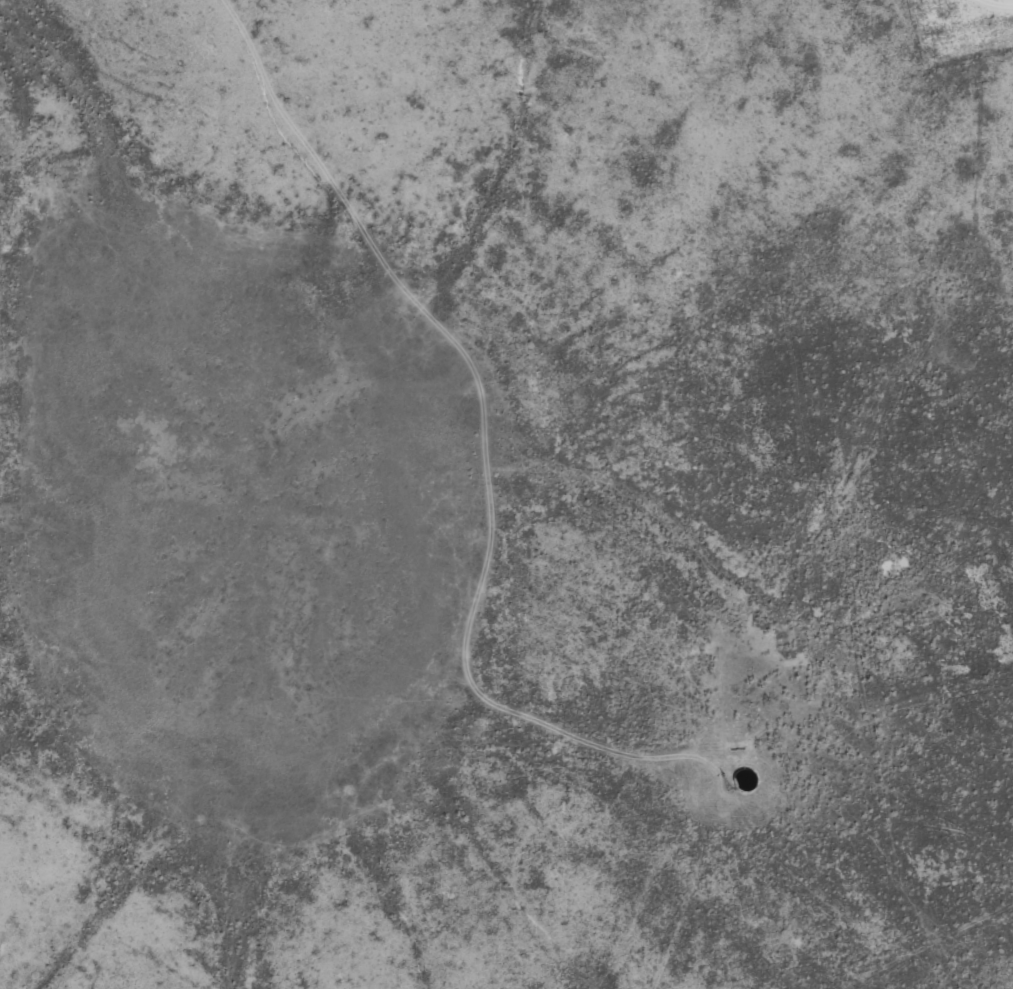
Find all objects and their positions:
road: (952, 724)

